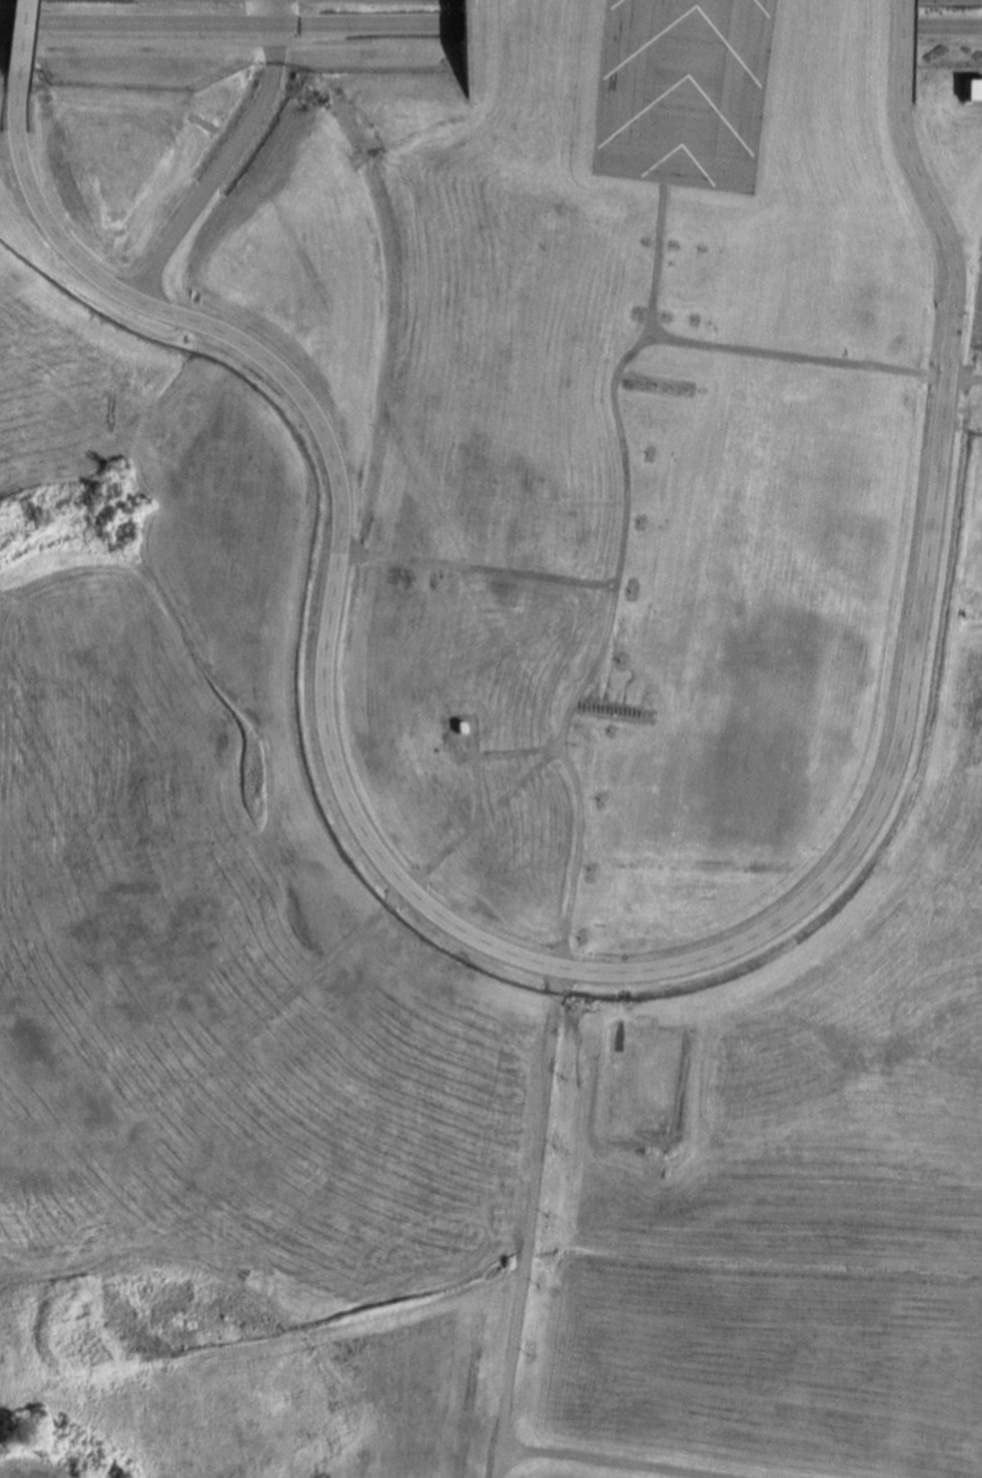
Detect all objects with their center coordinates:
road: (234, 24)
road: (949, 29)
road: (24, 45)
building: (975, 88)
road: (230, 156)
airport: (578, 441)
building: (457, 725)
building: (458, 744)
road: (588, 971)
road: (526, 1223)
road: (599, 1462)
road: (30, 1466)

